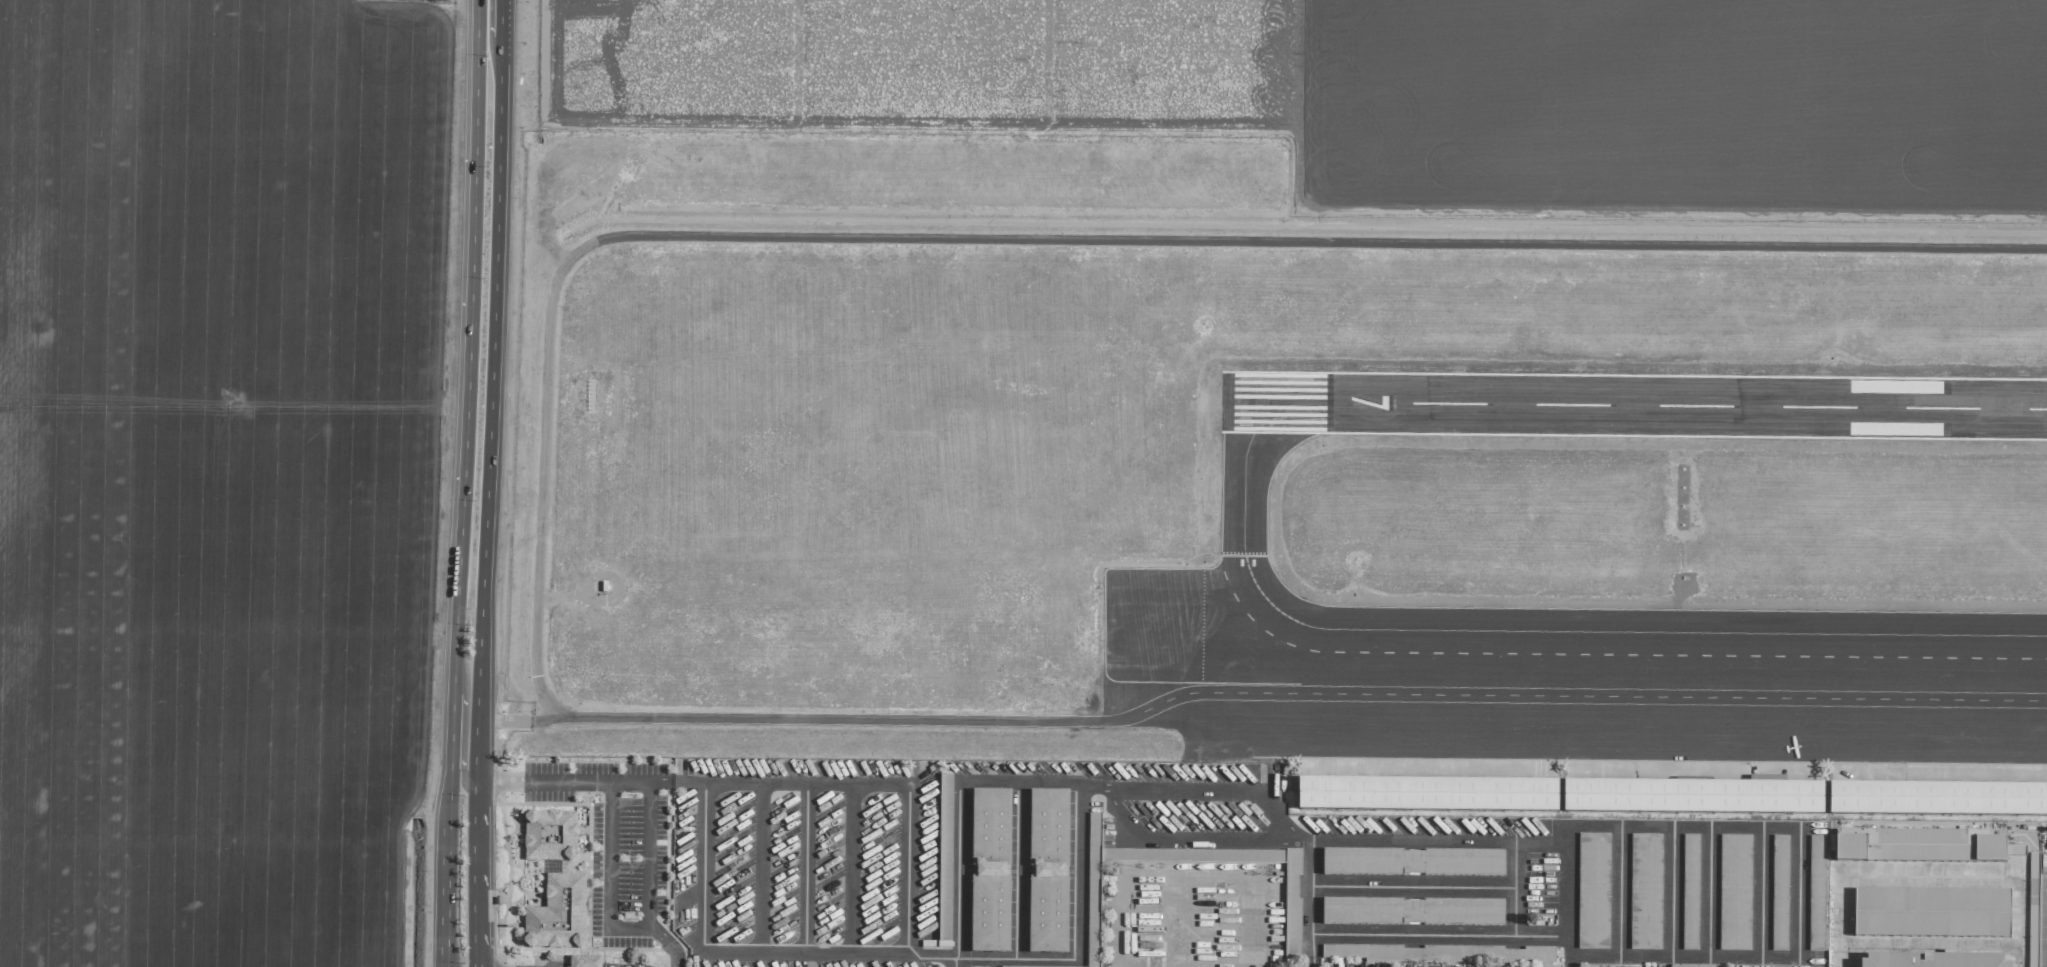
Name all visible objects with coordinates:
building: (438, 1)
road: (500, 19)
road: (796, 236)
road: (469, 322)
airport runway: (1223, 403)
airport runway: (1634, 404)
road: (489, 410)
crop: (217, 479)
airport: (1272, 480)
airport taxiway: (1224, 551)
airport taxiway: (1537, 631)
road: (542, 719)
road: (504, 720)
road: (451, 733)
road: (462, 735)
airport apron: (1618, 738)
road: (1018, 784)
road: (1096, 787)
road: (648, 792)
building: (1435, 796)
building: (1701, 798)
building: (1942, 799)
road: (1277, 815)
road: (1121, 820)
building: (1094, 832)
building: (554, 834)
building: (1940, 846)
building: (1850, 848)
building: (945, 859)
building: (1412, 863)
building: (2033, 866)
road: (612, 869)
building: (990, 872)
road: (1020, 872)
building: (1048, 872)
road: (474, 874)
road: (1929, 875)
road: (1413, 886)
road: (1515, 887)
road: (1797, 887)
road: (1564, 889)
road: (1619, 889)
road: (1670, 889)
building: (1593, 890)
road: (1707, 890)
road: (1759, 891)
building: (1645, 892)
building: (1690, 892)
building: (1734, 892)
building: (1779, 893)
road: (445, 894)
road: (1310, 896)
building: (1292, 911)
building: (561, 912)
building: (1412, 912)
building: (1932, 913)
building: (1092, 921)
road: (1929, 943)
building: (1526, 956)
road: (1013, 959)
building: (588, 960)
building: (1934, 961)
road: (955, 963)
road: (554, 965)
road: (583, 965)
road: (622, 966)
building: (1689, 966)

